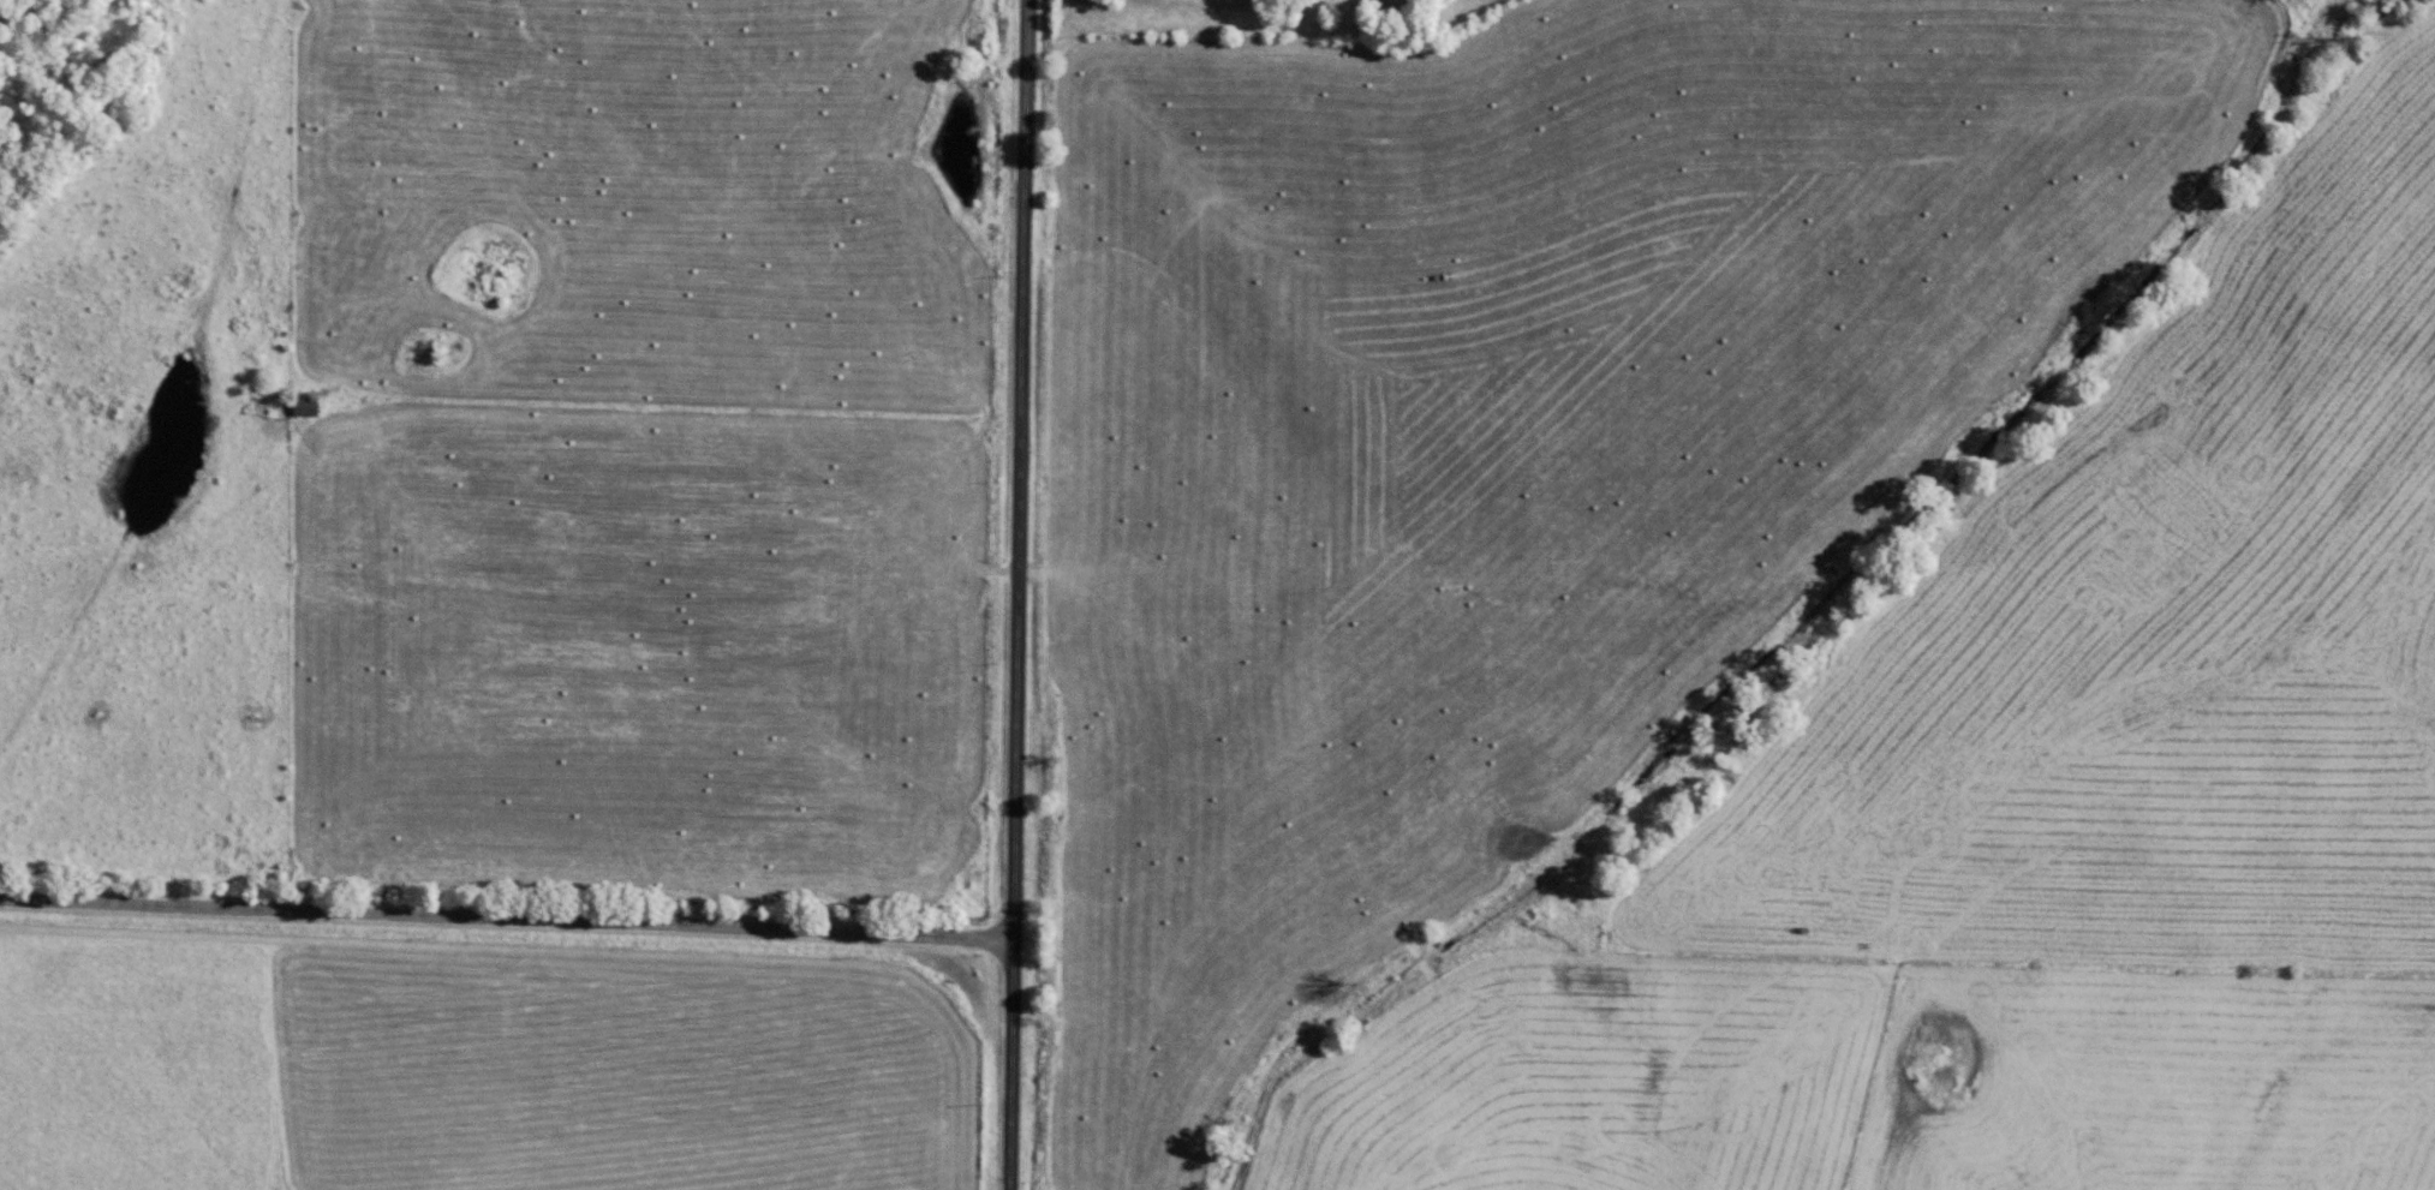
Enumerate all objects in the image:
building: (305, 412)
road: (1016, 594)
road: (506, 923)

